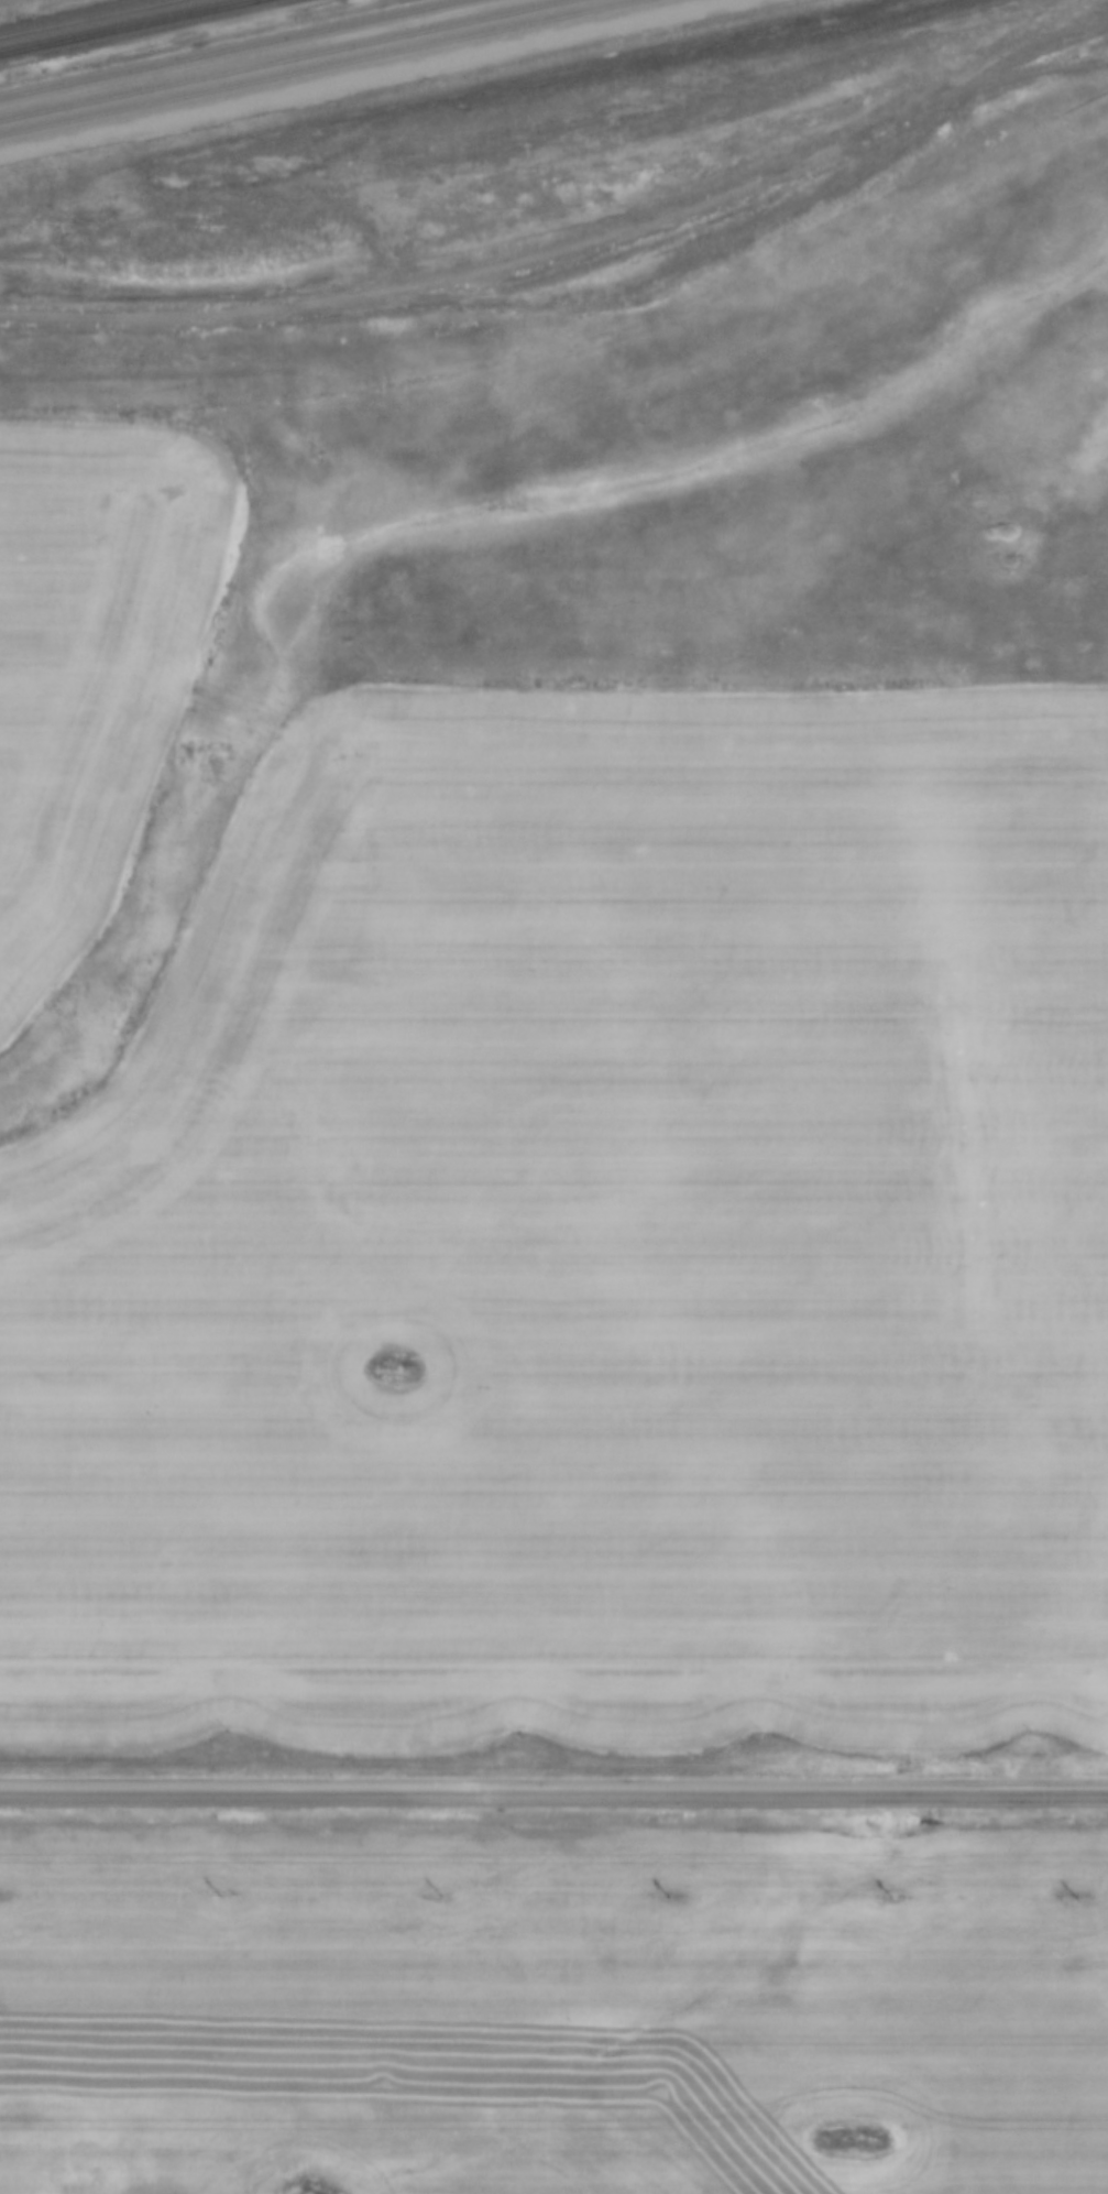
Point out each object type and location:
railway: (79, 17)
railway: (123, 25)
railway: (222, 47)
railway: (267, 56)
railway: (311, 65)
road: (553, 1793)

